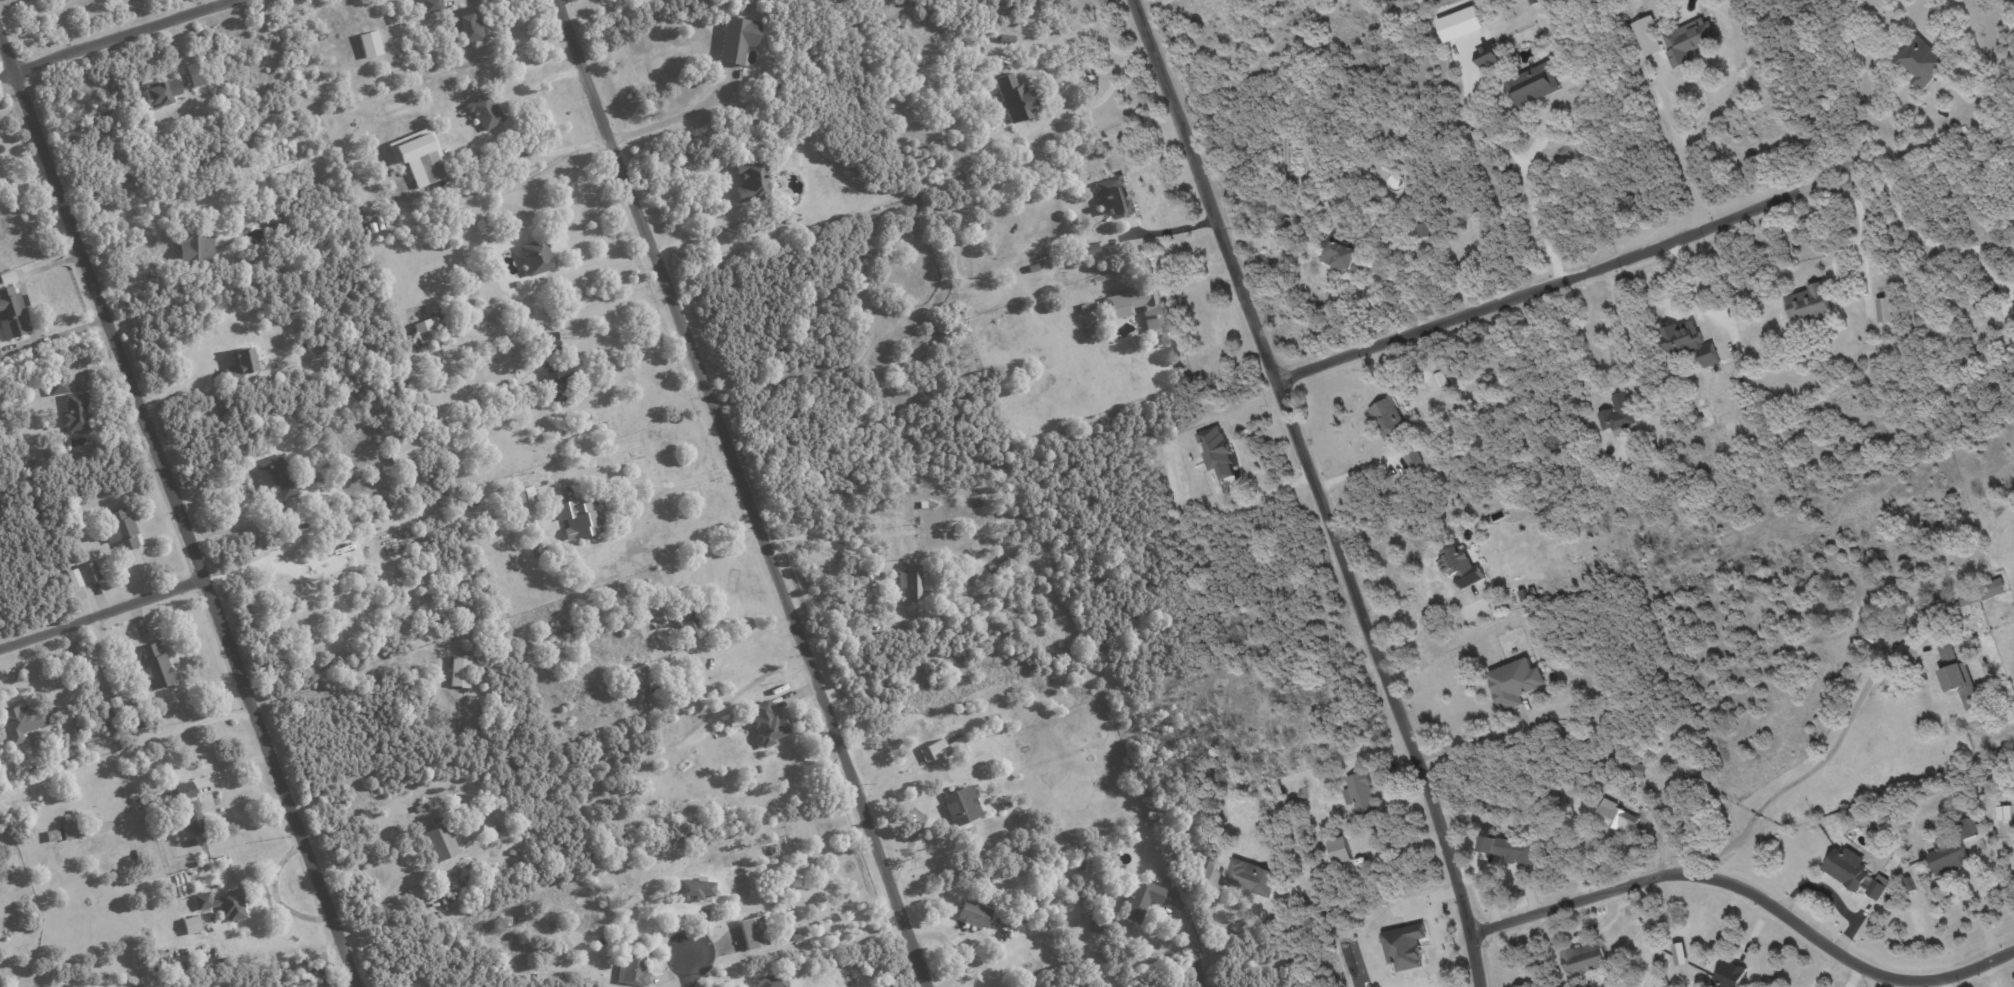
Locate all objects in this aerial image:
road: (582, 4)
building: (431, 5)
building: (465, 24)
building: (1647, 36)
building: (1005, 38)
road: (117, 39)
building: (737, 39)
building: (1688, 40)
building: (369, 44)
building: (1488, 57)
building: (1920, 61)
road: (1041, 66)
building: (1532, 85)
building: (1013, 97)
building: (484, 111)
road: (679, 116)
road: (1668, 118)
road: (519, 129)
road: (1900, 134)
building: (419, 156)
road: (1517, 156)
building: (751, 180)
building: (1113, 195)
road: (1907, 207)
building: (274, 219)
building: (1420, 229)
road: (1171, 230)
road: (1992, 234)
road: (715, 242)
building: (193, 247)
building: (1088, 248)
building: (535, 255)
building: (1341, 257)
road: (1990, 260)
road: (1565, 279)
road: (1690, 288)
building: (1809, 304)
building: (2012, 304)
building: (1141, 307)
building: (1883, 309)
building: (12, 313)
road: (1626, 326)
building: (427, 330)
road: (61, 333)
building: (550, 342)
building: (1688, 342)
building: (0, 358)
building: (1441, 379)
building: (556, 381)
road: (180, 385)
building: (56, 386)
building: (74, 412)
building: (1617, 415)
building: (1388, 418)
building: (403, 450)
building: (1216, 451)
building: (1412, 457)
road: (647, 469)
building: (275, 476)
road: (1316, 490)
road: (746, 491)
road: (1266, 493)
building: (524, 499)
road: (179, 512)
building: (579, 517)
building: (120, 530)
road: (286, 537)
building: (1461, 566)
road: (866, 569)
building: (89, 571)
building: (73, 578)
building: (911, 581)
building: (1981, 592)
road: (1416, 607)
building: (1928, 608)
road: (102, 612)
building: (689, 622)
road: (745, 634)
building: (155, 667)
building: (459, 671)
building: (636, 676)
building: (1957, 677)
building: (1514, 682)
building: (23, 721)
building: (766, 724)
road: (1473, 739)
building: (931, 750)
road: (125, 751)
building: (1634, 768)
road: (1812, 770)
building: (184, 790)
building: (1360, 794)
road: (227, 803)
building: (960, 805)
building: (2003, 813)
building: (1610, 814)
building: (191, 816)
building: (71, 827)
building: (1969, 827)
building: (440, 842)
building: (1339, 850)
building: (1518, 850)
building: (1948, 855)
building: (1201, 866)
building: (1854, 872)
building: (1251, 877)
building: (693, 889)
road: (274, 894)
road: (1751, 897)
building: (1139, 900)
building: (221, 903)
road: (379, 905)
building: (973, 914)
road: (1982, 917)
building: (191, 924)
building: (751, 932)
building: (1404, 946)
road: (1192, 950)
building: (1583, 958)
building: (631, 970)
road: (688, 971)
building: (1728, 975)
building: (770, 980)
road: (1877, 981)
road: (1943, 983)
building: (66, 985)

